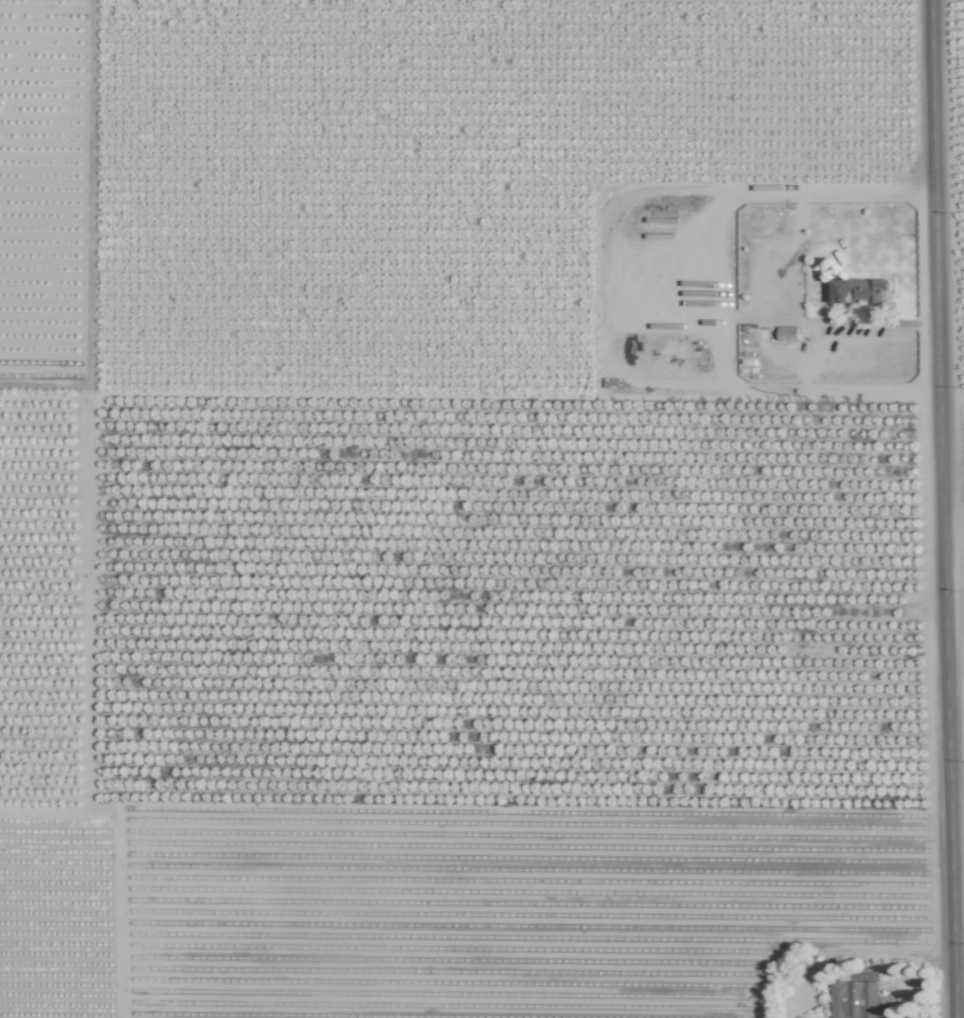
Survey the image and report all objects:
road: (802, 202)
building: (860, 290)
road: (809, 360)
road: (941, 509)
road: (958, 963)
building: (859, 1000)

